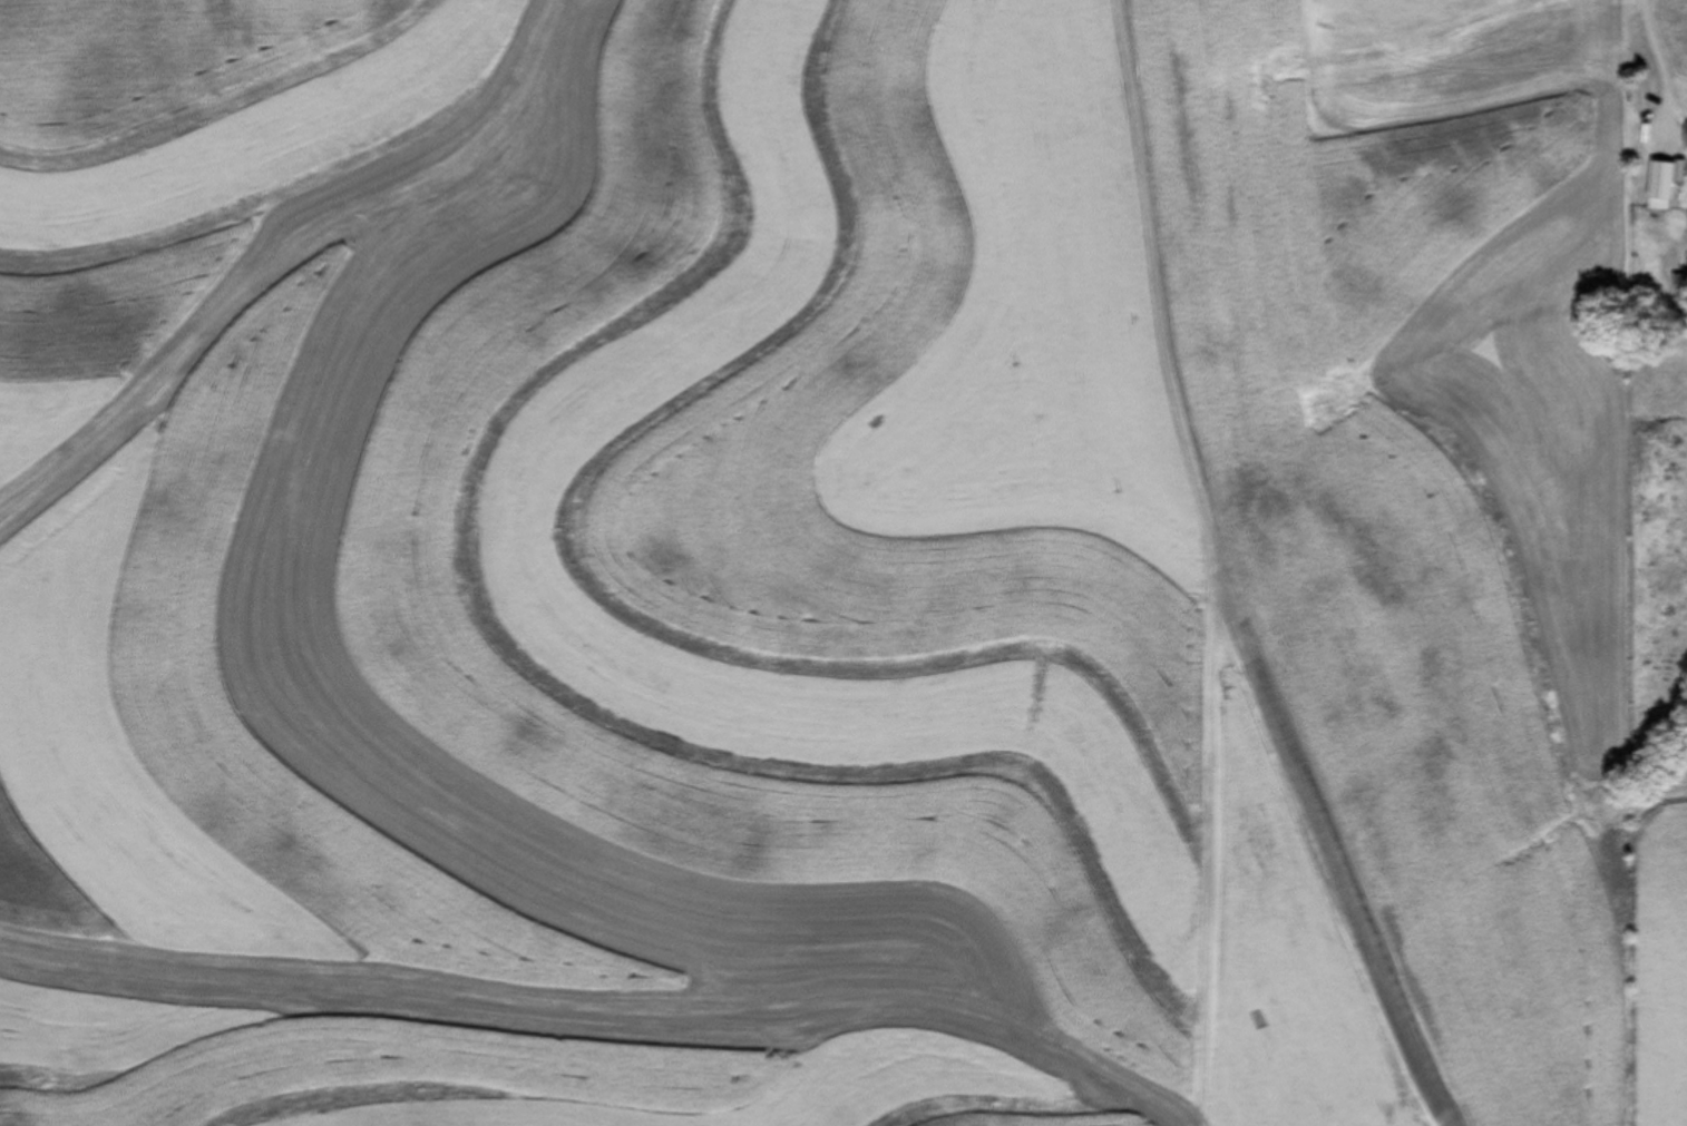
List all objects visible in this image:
building: (1685, 137)
building: (1659, 186)

